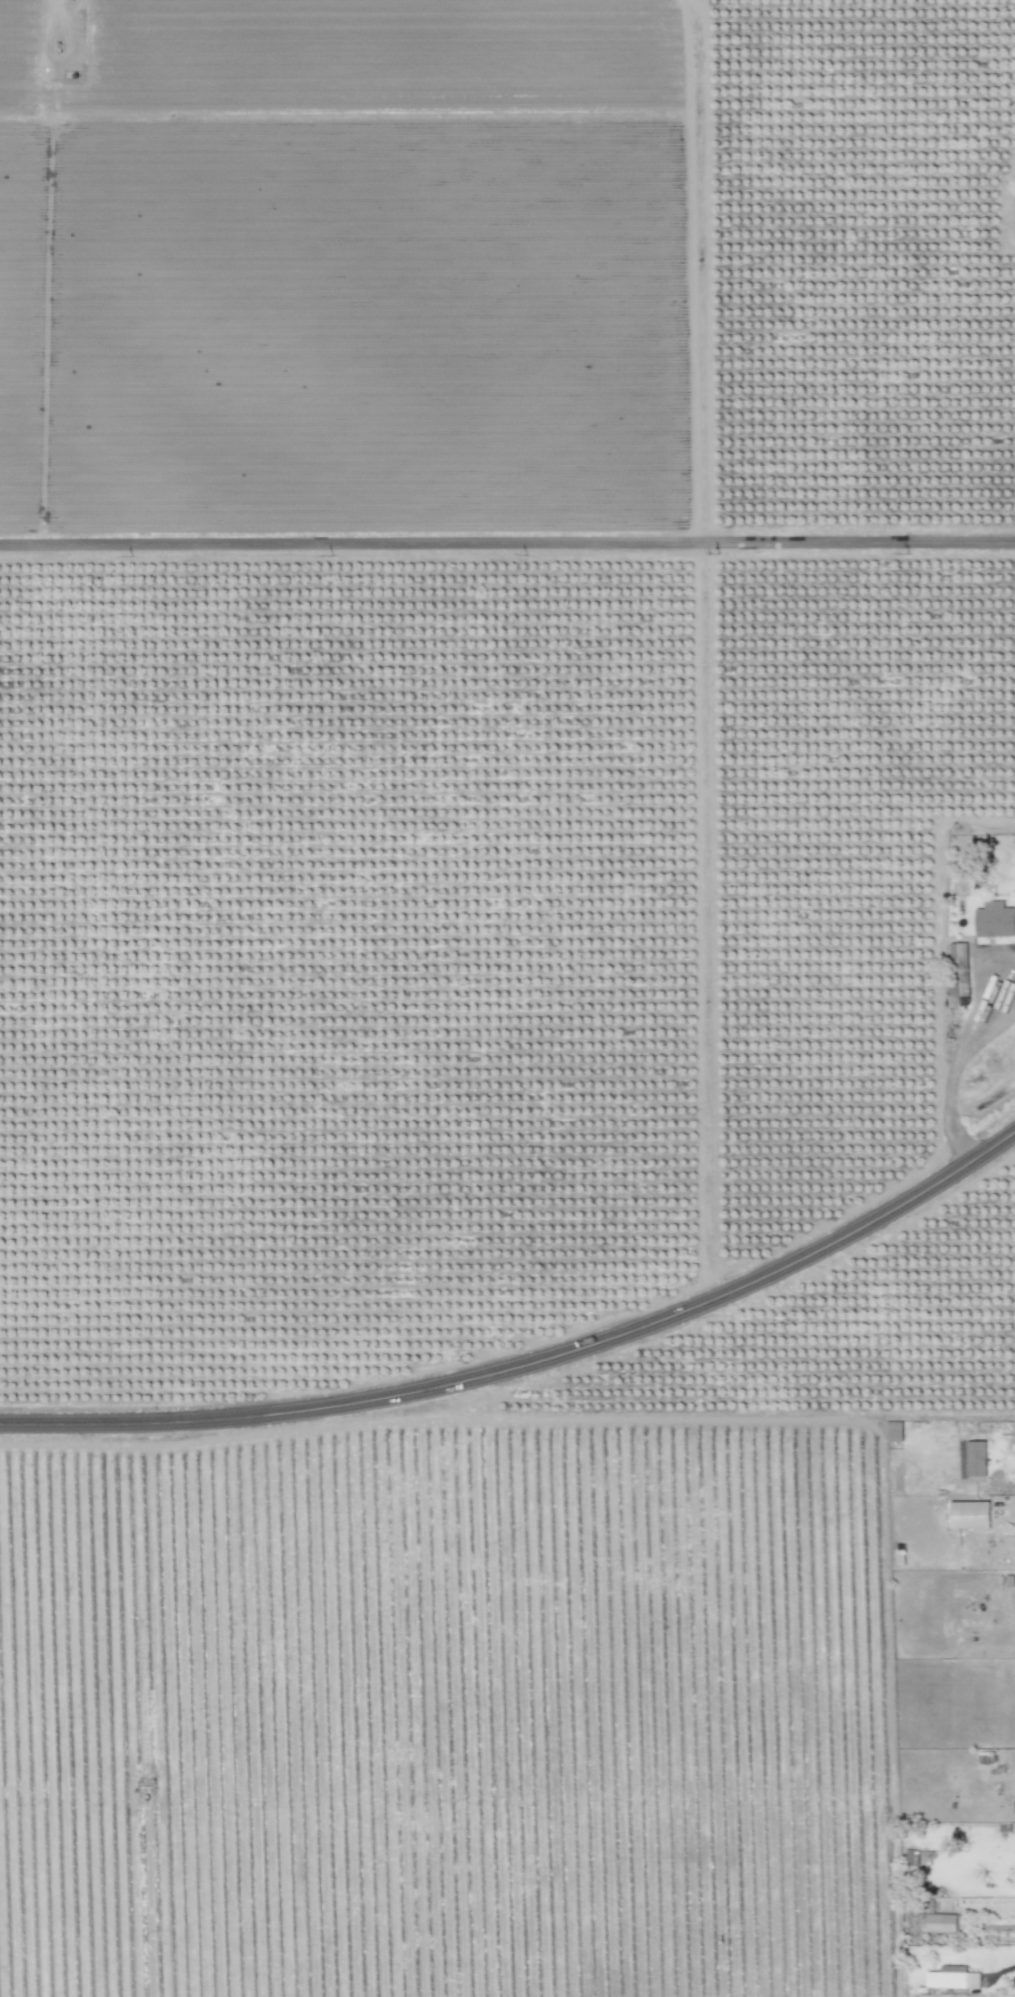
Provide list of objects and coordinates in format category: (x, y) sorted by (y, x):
road: (507, 542)
building: (995, 920)
building: (959, 968)
road: (956, 1059)
road: (531, 1362)
building: (894, 1431)
building: (976, 1458)
building: (969, 1514)
building: (941, 1922)
building: (953, 1977)

